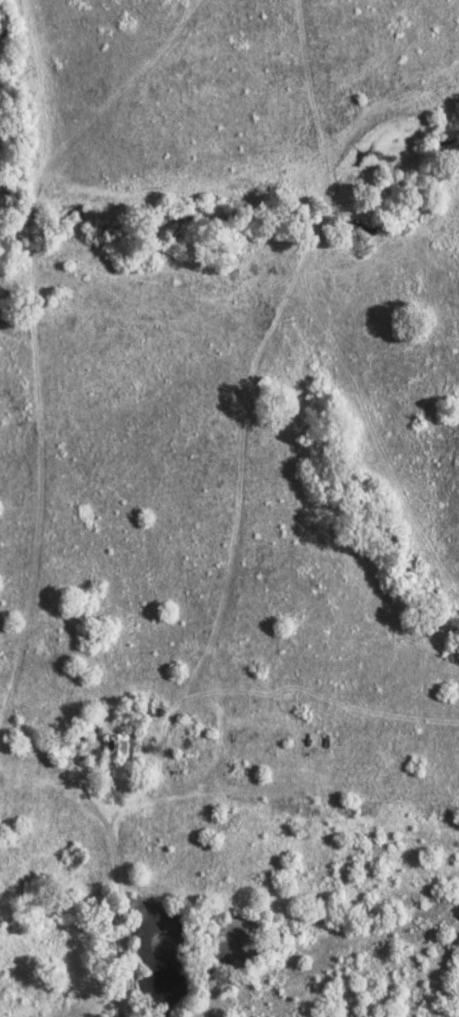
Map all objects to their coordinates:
building: (116, 745)
road: (114, 877)

